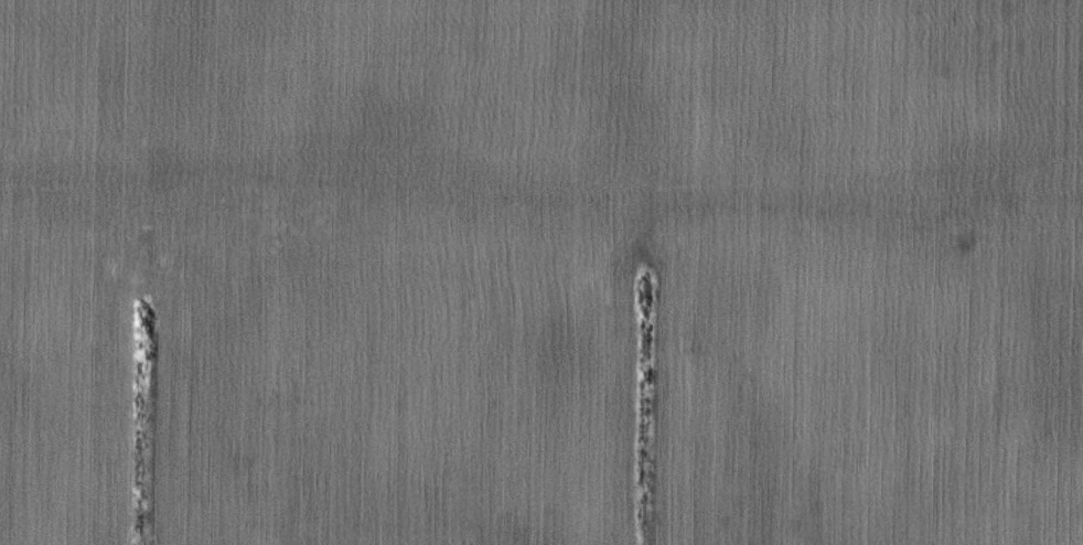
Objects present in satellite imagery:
crop: (541, 272)

